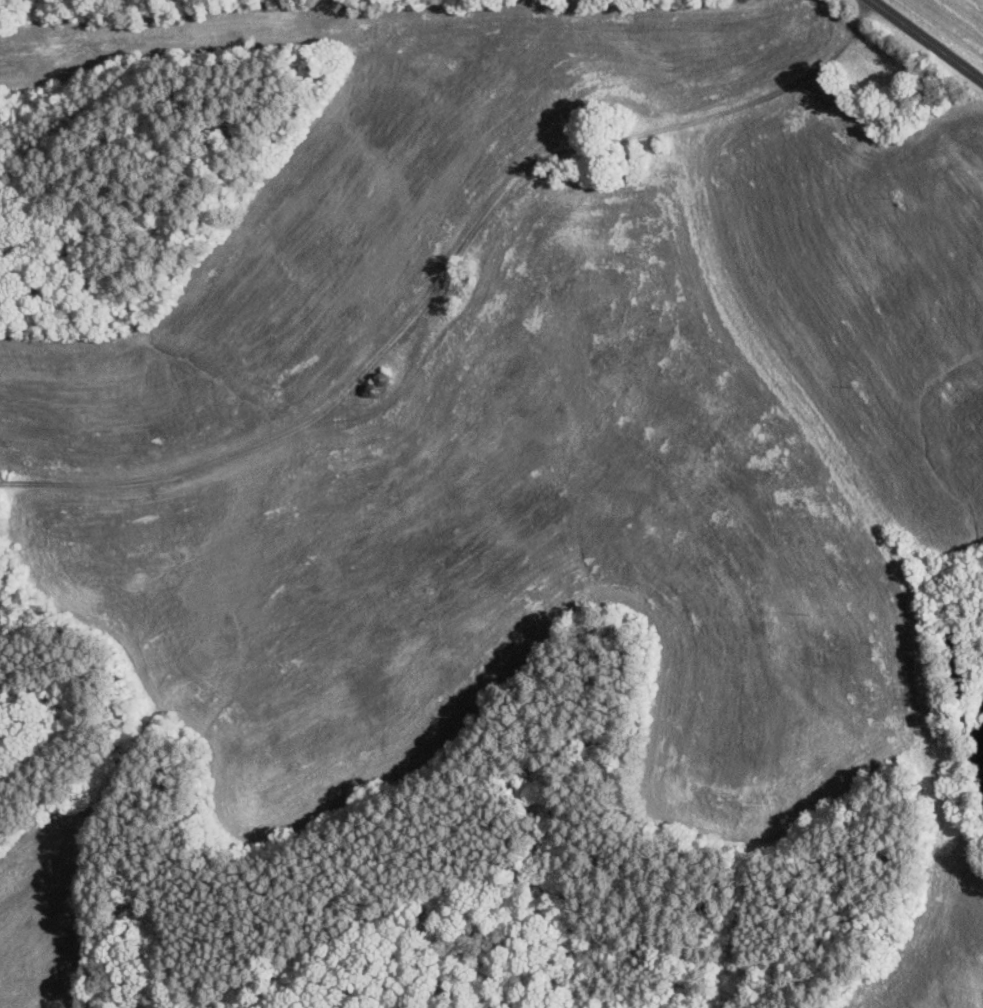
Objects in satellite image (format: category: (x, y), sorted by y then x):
road: (926, 39)
road: (447, 271)

